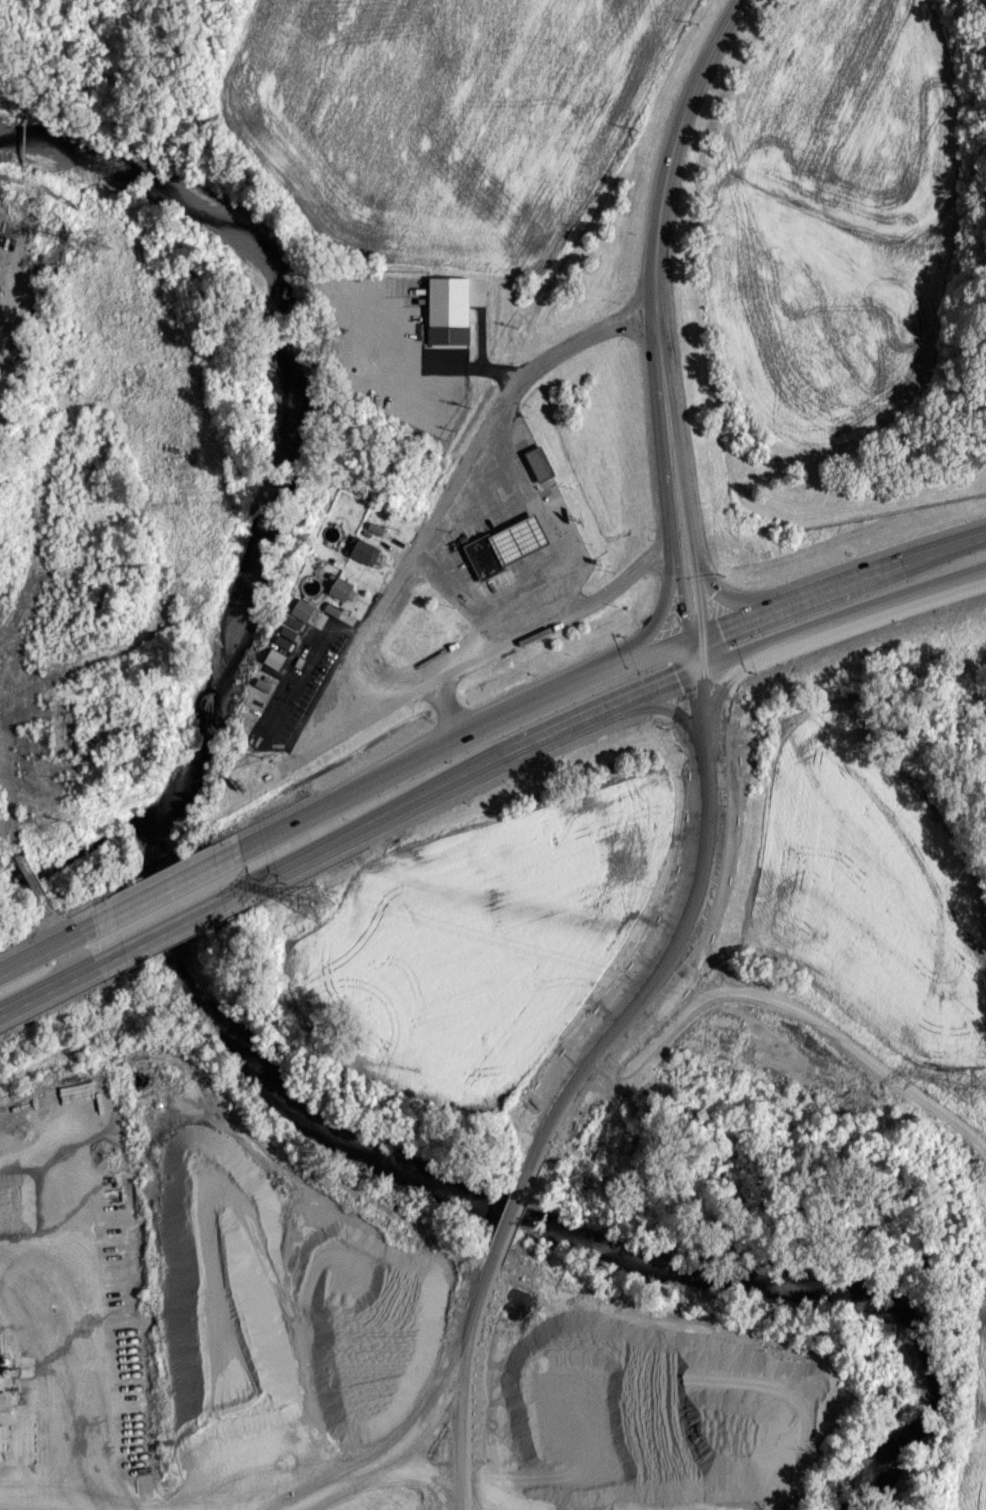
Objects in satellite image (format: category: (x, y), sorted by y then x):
road: (676, 148)
power tower: (93, 245)
building: (448, 309)
road: (661, 338)
road: (465, 439)
building: (541, 463)
road: (452, 494)
road: (549, 517)
road: (690, 519)
road: (673, 520)
building: (521, 539)
gas station: (521, 539)
building: (362, 549)
building: (486, 556)
building: (342, 587)
road: (467, 591)
road: (809, 595)
building: (302, 608)
building: (332, 608)
building: (293, 621)
road: (649, 629)
building: (285, 636)
road: (493, 645)
building: (274, 657)
road: (450, 707)
road: (669, 711)
road: (596, 716)
road: (423, 759)
road: (11, 837)
road: (32, 879)
road: (161, 887)
power tower: (314, 900)
road: (53, 922)
road: (171, 923)
road: (54, 941)
road: (69, 954)
road: (58, 979)
road: (786, 1008)
road: (577, 1082)
power tower: (969, 1085)
quarry: (331, 1340)

